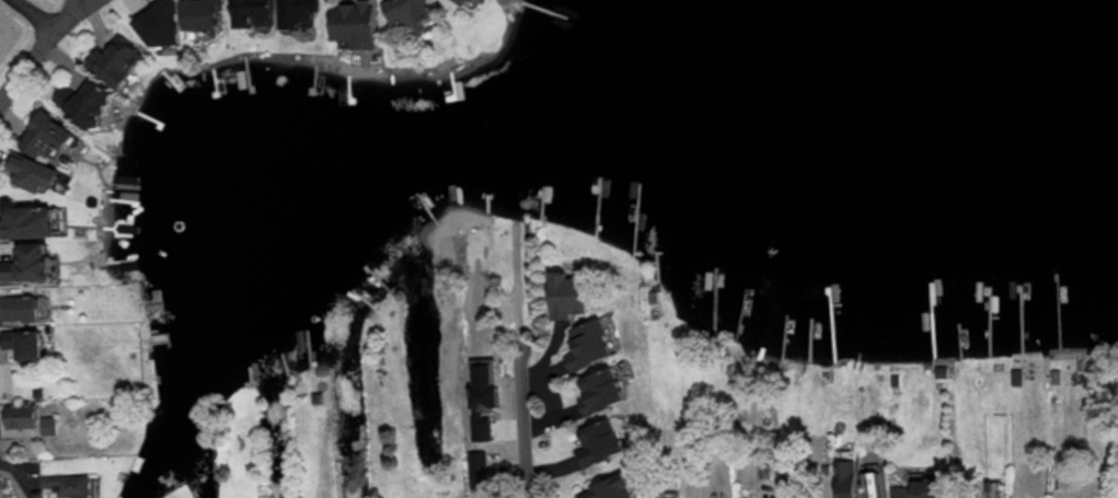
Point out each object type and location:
building: (465, 1)
building: (255, 12)
building: (201, 13)
building: (298, 13)
building: (410, 13)
road: (34, 18)
road: (78, 19)
building: (357, 23)
building: (161, 24)
road: (34, 60)
building: (117, 60)
building: (85, 101)
building: (47, 136)
building: (33, 172)
river: (353, 173)
building: (25, 221)
building: (28, 264)
building: (566, 294)
building: (18, 308)
building: (24, 343)
building: (587, 345)
building: (600, 391)
building: (483, 397)
road: (521, 406)
building: (23, 415)
building: (49, 424)
building: (599, 441)
building: (476, 470)
building: (846, 478)
building: (872, 484)
building: (69, 485)
building: (608, 488)
building: (920, 488)

